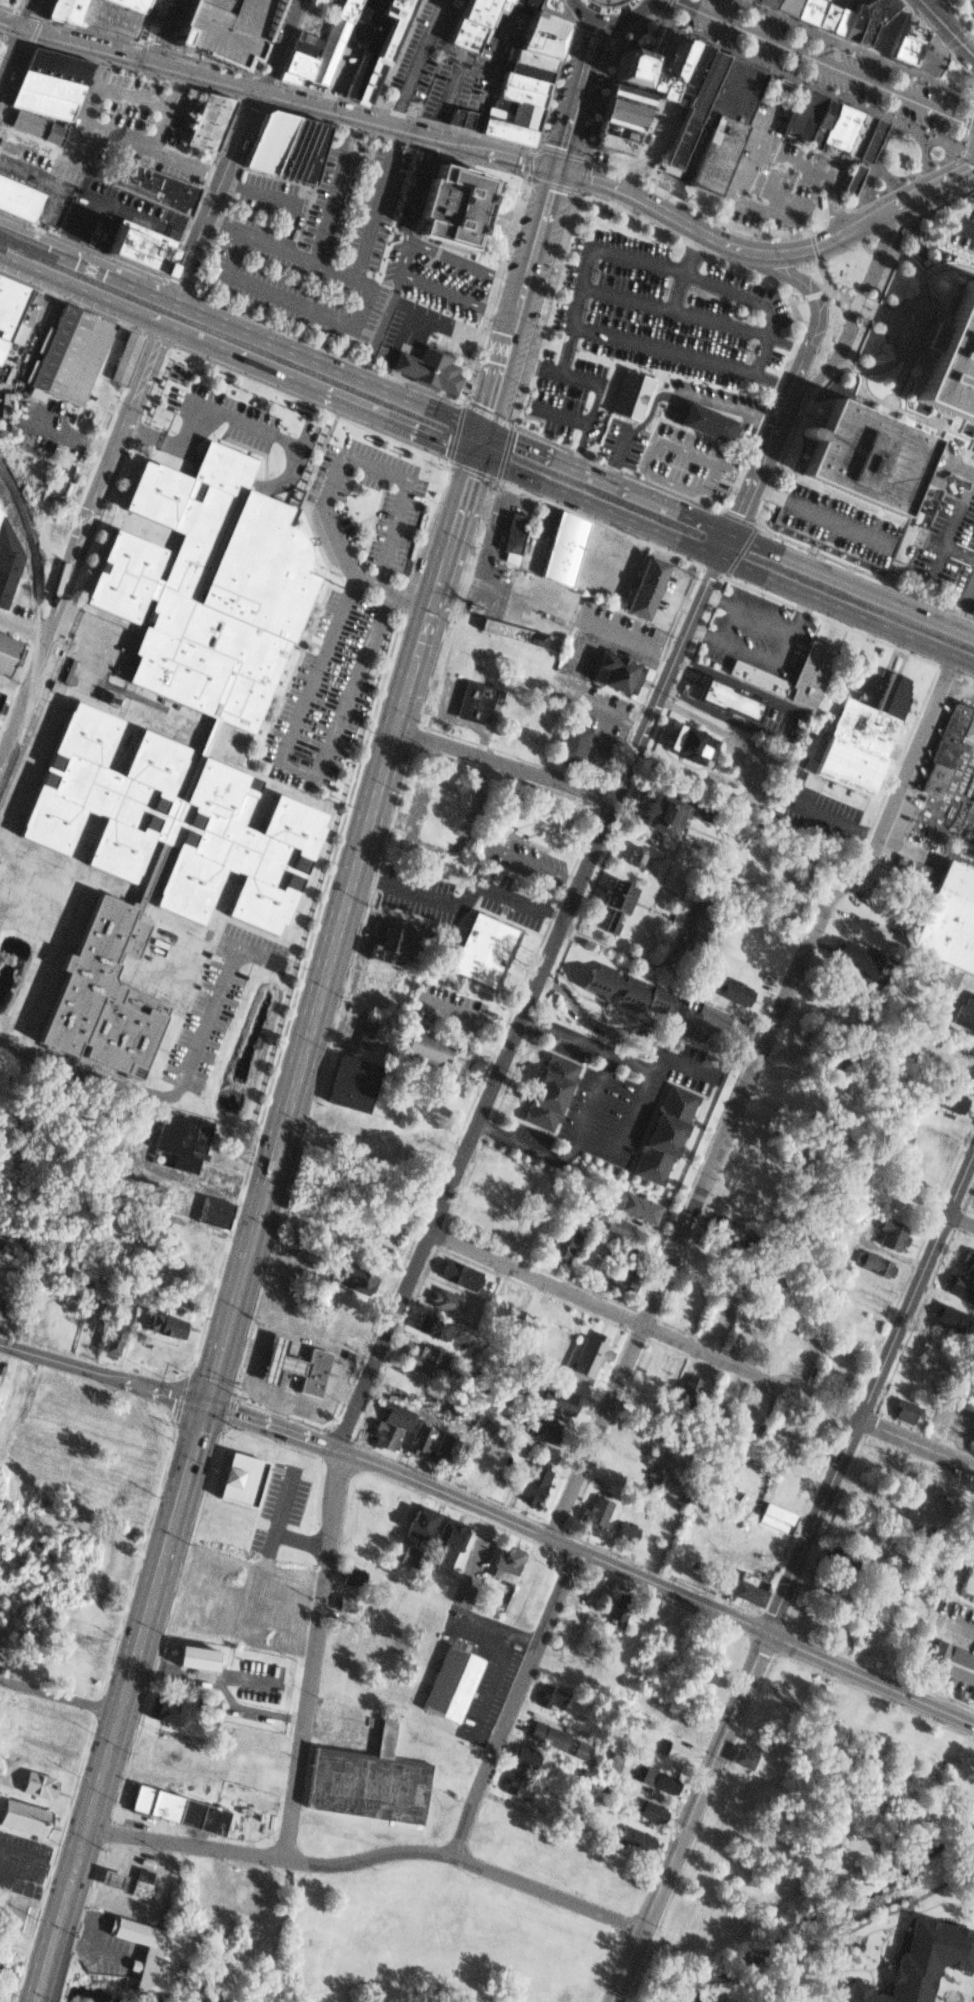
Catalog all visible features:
road: (608, 0)
building: (760, 1)
building: (318, 3)
building: (524, 3)
building: (134, 4)
building: (502, 4)
building: (777, 4)
road: (21, 6)
building: (800, 8)
building: (348, 9)
road: (660, 10)
building: (369, 11)
road: (28, 13)
building: (821, 14)
park: (599, 15)
road: (607, 15)
building: (98, 16)
building: (851, 16)
road: (957, 17)
building: (472, 24)
building: (221, 28)
parking garage: (221, 28)
road: (165, 30)
road: (946, 30)
road: (35, 32)
building: (881, 34)
building: (541, 35)
road: (589, 35)
road: (264, 38)
building: (310, 39)
road: (934, 41)
park: (3, 43)
road: (276, 44)
road: (3, 45)
building: (384, 46)
building: (305, 49)
building: (329, 49)
road: (854, 49)
building: (918, 49)
road: (11, 54)
road: (398, 55)
building: (367, 57)
road: (141, 59)
building: (534, 60)
road: (418, 61)
road: (824, 61)
building: (653, 62)
road: (3, 63)
building: (299, 65)
building: (617, 65)
road: (100, 66)
building: (679, 70)
building: (529, 72)
building: (290, 78)
building: (524, 83)
road: (175, 87)
road: (488, 90)
road: (578, 92)
road: (278, 94)
building: (46, 95)
building: (521, 96)
building: (626, 99)
road: (342, 101)
building: (680, 105)
building: (517, 108)
road: (166, 109)
building: (695, 109)
building: (622, 117)
building: (513, 118)
building: (462, 119)
building: (210, 122)
building: (717, 122)
road: (964, 125)
building: (832, 126)
building: (509, 131)
building: (616, 137)
road: (222, 139)
building: (270, 142)
road: (533, 149)
road: (49, 150)
building: (303, 151)
road: (963, 152)
road: (186, 163)
road: (743, 165)
building: (854, 179)
building: (153, 186)
road: (330, 187)
road: (54, 190)
road: (593, 197)
building: (16, 198)
road: (280, 200)
road: (768, 200)
road: (377, 203)
building: (455, 206)
road: (210, 207)
road: (829, 207)
road: (127, 211)
road: (842, 211)
road: (223, 227)
road: (967, 227)
building: (142, 247)
road: (766, 252)
road: (398, 254)
road: (885, 254)
road: (812, 259)
road: (681, 265)
road: (912, 270)
road: (839, 297)
road: (219, 300)
road: (72, 301)
road: (903, 301)
building: (9, 306)
road: (672, 307)
road: (848, 310)
road: (516, 311)
road: (441, 324)
road: (351, 328)
road: (240, 329)
road: (160, 339)
road: (784, 345)
road: (564, 349)
road: (652, 349)
building: (71, 355)
road: (236, 355)
building: (126, 358)
building: (954, 365)
building: (430, 369)
road: (769, 381)
road: (665, 387)
building: (630, 395)
road: (591, 401)
road: (314, 403)
road: (488, 413)
parking lot: (235, 423)
building: (708, 423)
road: (72, 430)
road: (263, 430)
road: (456, 431)
road: (164, 445)
road: (579, 446)
railway: (486, 447)
road: (505, 452)
building: (868, 458)
road: (226, 470)
road: (475, 471)
road: (644, 471)
road: (734, 472)
road: (337, 475)
road: (816, 514)
road: (759, 515)
road: (738, 516)
road: (601, 523)
building: (507, 531)
road: (727, 533)
road: (944, 540)
road: (80, 542)
building: (563, 548)
road: (743, 550)
road: (958, 553)
building: (6, 556)
road: (724, 559)
road: (715, 571)
building: (206, 584)
building: (638, 585)
road: (970, 595)
parking lot: (351, 601)
road: (962, 601)
road: (461, 602)
road: (832, 621)
railway: (38, 624)
road: (23, 625)
building: (507, 628)
road: (102, 632)
building: (4, 646)
building: (609, 668)
road: (948, 668)
road: (655, 673)
building: (784, 673)
road: (966, 675)
building: (1, 696)
building: (719, 696)
building: (470, 700)
building: (858, 735)
road: (421, 736)
building: (680, 740)
building: (570, 742)
building: (949, 748)
road: (504, 765)
road: (302, 766)
road: (599, 790)
building: (650, 811)
road: (836, 816)
building: (525, 818)
building: (174, 822)
building: (628, 853)
building: (637, 856)
road: (478, 865)
building: (914, 869)
road: (402, 891)
building: (613, 892)
building: (945, 916)
road: (314, 924)
building: (607, 924)
building: (613, 927)
building: (382, 936)
building: (475, 949)
building: (847, 954)
building: (942, 977)
building: (378, 982)
building: (620, 984)
building: (731, 990)
building: (105, 996)
building: (963, 1011)
road: (466, 1020)
building: (368, 1034)
road: (566, 1036)
road: (517, 1038)
building: (419, 1045)
building: (346, 1080)
road: (180, 1083)
building: (543, 1090)
road: (742, 1091)
building: (946, 1097)
building: (659, 1132)
building: (173, 1139)
road: (531, 1149)
road: (609, 1154)
road: (207, 1185)
road: (5, 1201)
building: (635, 1206)
building: (209, 1209)
road: (257, 1216)
road: (960, 1221)
building: (610, 1226)
building: (723, 1227)
building: (363, 1233)
building: (887, 1234)
building: (563, 1244)
building: (12, 1249)
road: (185, 1249)
building: (965, 1257)
building: (870, 1264)
building: (456, 1272)
building: (623, 1273)
building: (9, 1276)
building: (349, 1278)
building: (956, 1285)
building: (444, 1303)
building: (3, 1306)
building: (945, 1315)
building: (3, 1320)
building: (160, 1324)
building: (427, 1325)
road: (646, 1328)
building: (746, 1332)
building: (112, 1341)
building: (930, 1350)
road: (164, 1351)
road: (240, 1352)
building: (590, 1356)
building: (279, 1360)
building: (418, 1360)
road: (102, 1372)
building: (315, 1372)
building: (911, 1375)
road: (284, 1383)
building: (688, 1390)
road: (870, 1392)
road: (349, 1393)
road: (183, 1396)
building: (555, 1399)
traffic signals: (204, 1405)
road: (289, 1406)
building: (899, 1408)
building: (392, 1410)
building: (535, 1424)
building: (381, 1435)
building: (419, 1438)
road: (916, 1444)
building: (442, 1448)
building: (240, 1477)
building: (528, 1479)
building: (594, 1509)
road: (282, 1511)
building: (774, 1515)
building: (416, 1521)
building: (622, 1532)
road: (301, 1542)
building: (444, 1542)
building: (407, 1555)
road: (592, 1556)
building: (844, 1557)
building: (501, 1559)
building: (349, 1573)
building: (966, 1576)
building: (742, 1588)
building: (342, 1601)
building: (616, 1606)
road: (960, 1627)
building: (0, 1641)
road: (522, 1642)
building: (192, 1653)
building: (598, 1655)
building: (947, 1655)
road: (497, 1665)
road: (962, 1676)
building: (446, 1683)
road: (220, 1687)
road: (100, 1689)
building: (544, 1692)
building: (831, 1694)
road: (58, 1695)
road: (515, 1699)
building: (161, 1707)
building: (863, 1707)
building: (397, 1709)
building: (553, 1738)
road: (482, 1743)
building: (673, 1749)
building: (523, 1754)
building: (743, 1755)
building: (609, 1761)
building: (658, 1778)
building: (363, 1779)
building: (35, 1780)
building: (515, 1783)
building: (172, 1805)
building: (21, 1809)
building: (648, 1809)
road: (689, 1818)
building: (633, 1838)
road: (148, 1840)
road: (36, 1855)
road: (247, 1855)
road: (466, 1861)
building: (114, 1880)
building: (139, 1883)
road: (32, 1885)
river: (844, 1898)
building: (143, 1952)
building: (911, 1958)
road: (17, 1981)
road: (39, 1987)
road: (13, 1996)
road: (35, 1998)

